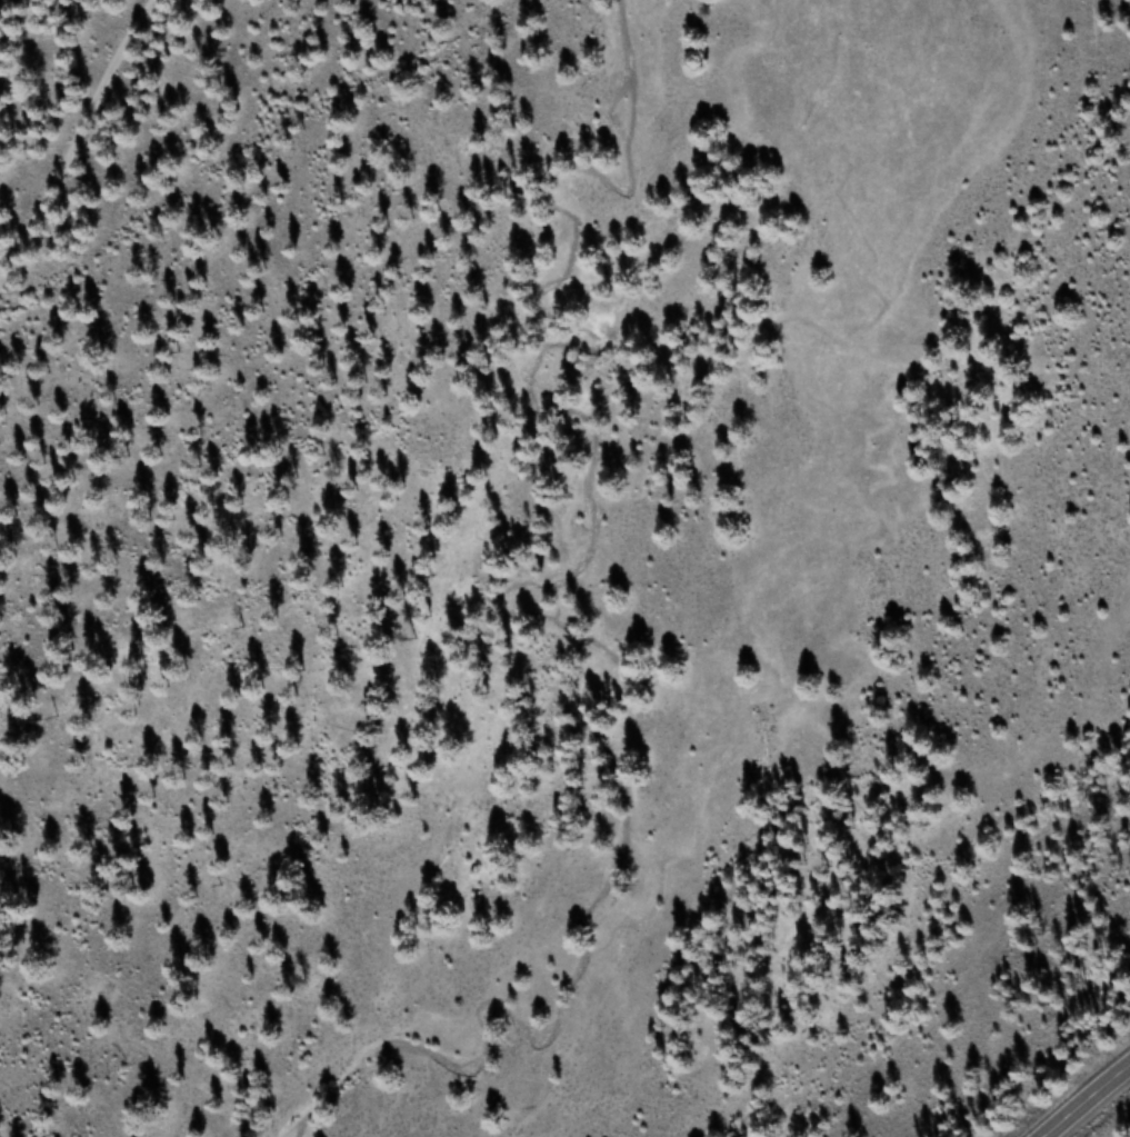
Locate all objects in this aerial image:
road: (76, 142)
road: (1083, 1098)

